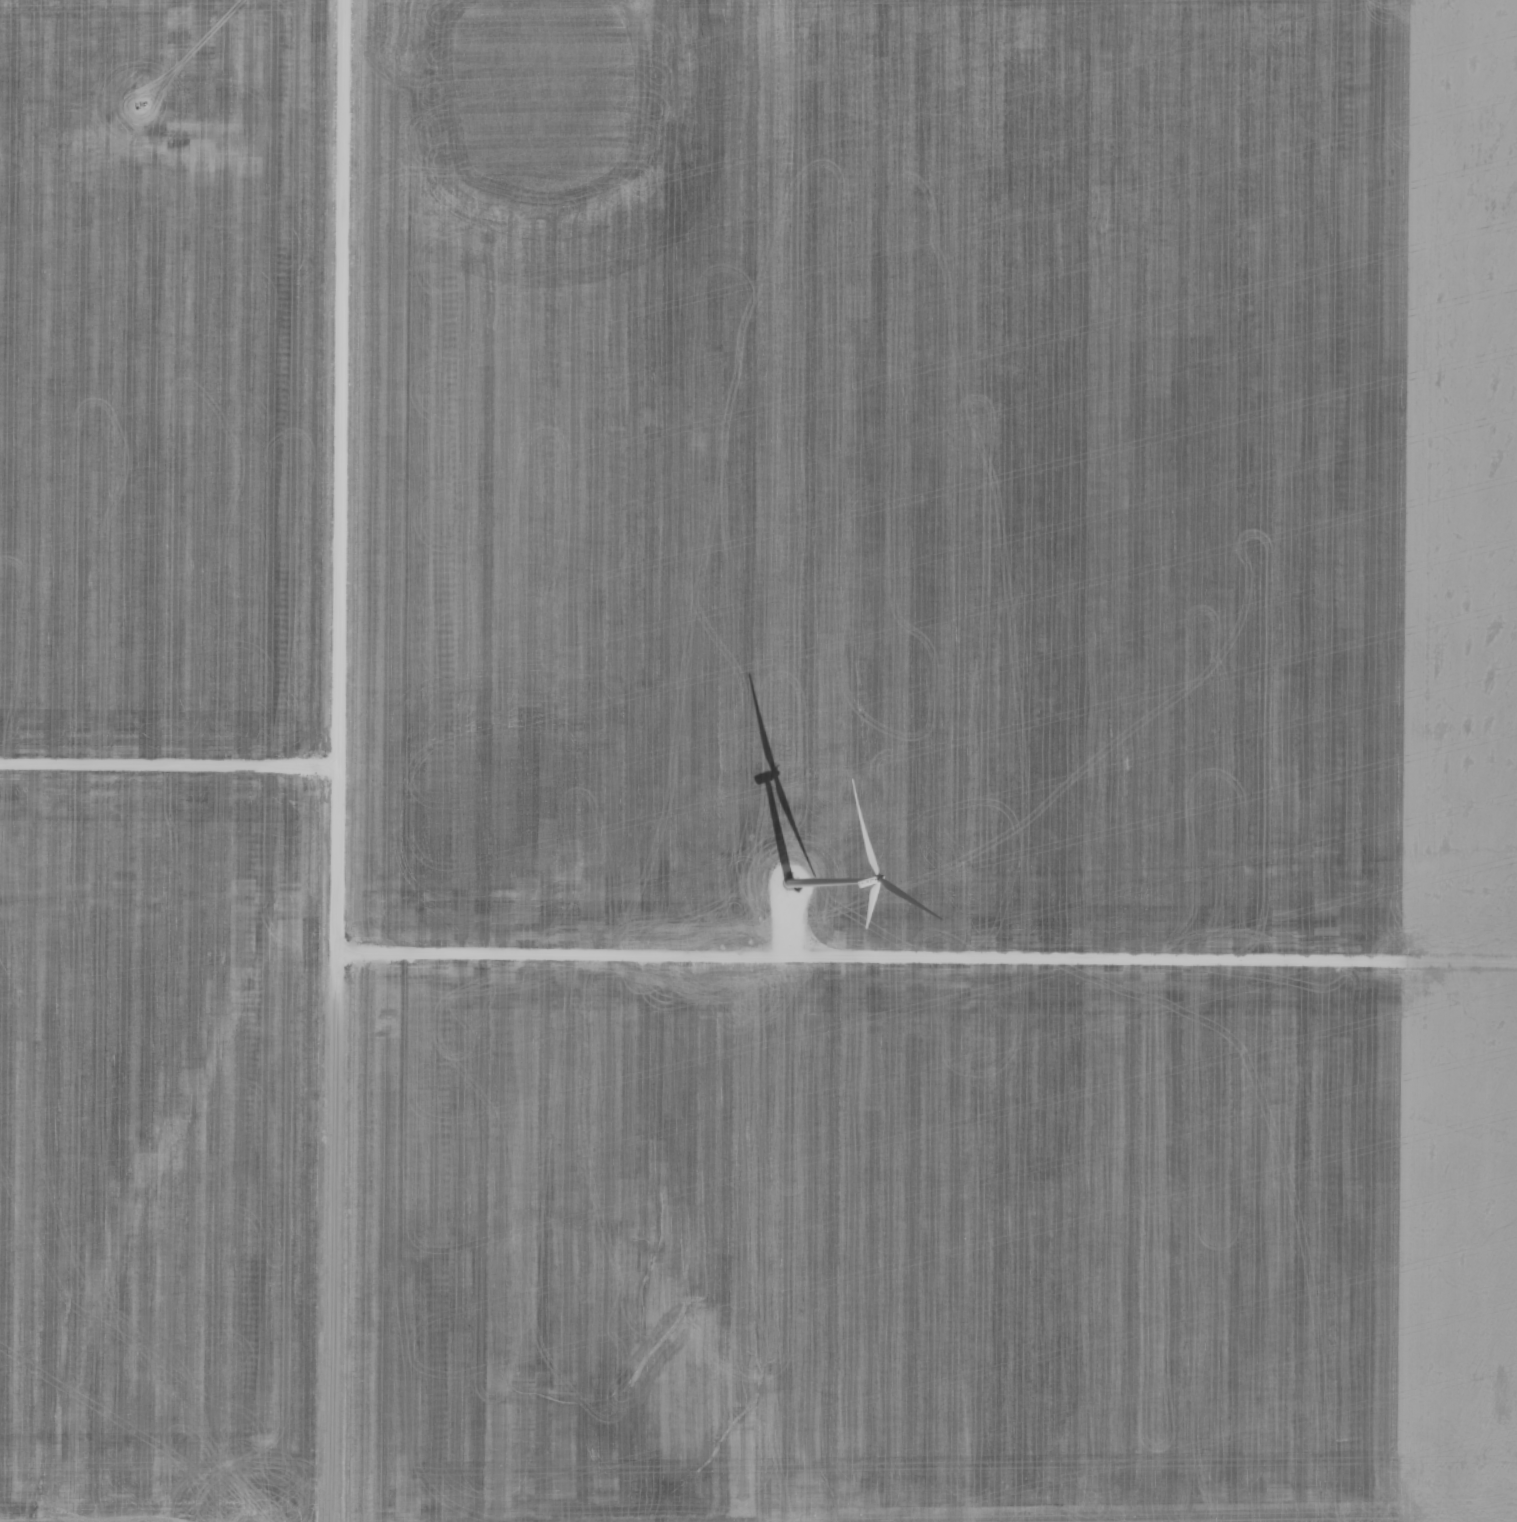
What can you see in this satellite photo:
road: (341, 761)
wind turbine: (789, 887)

